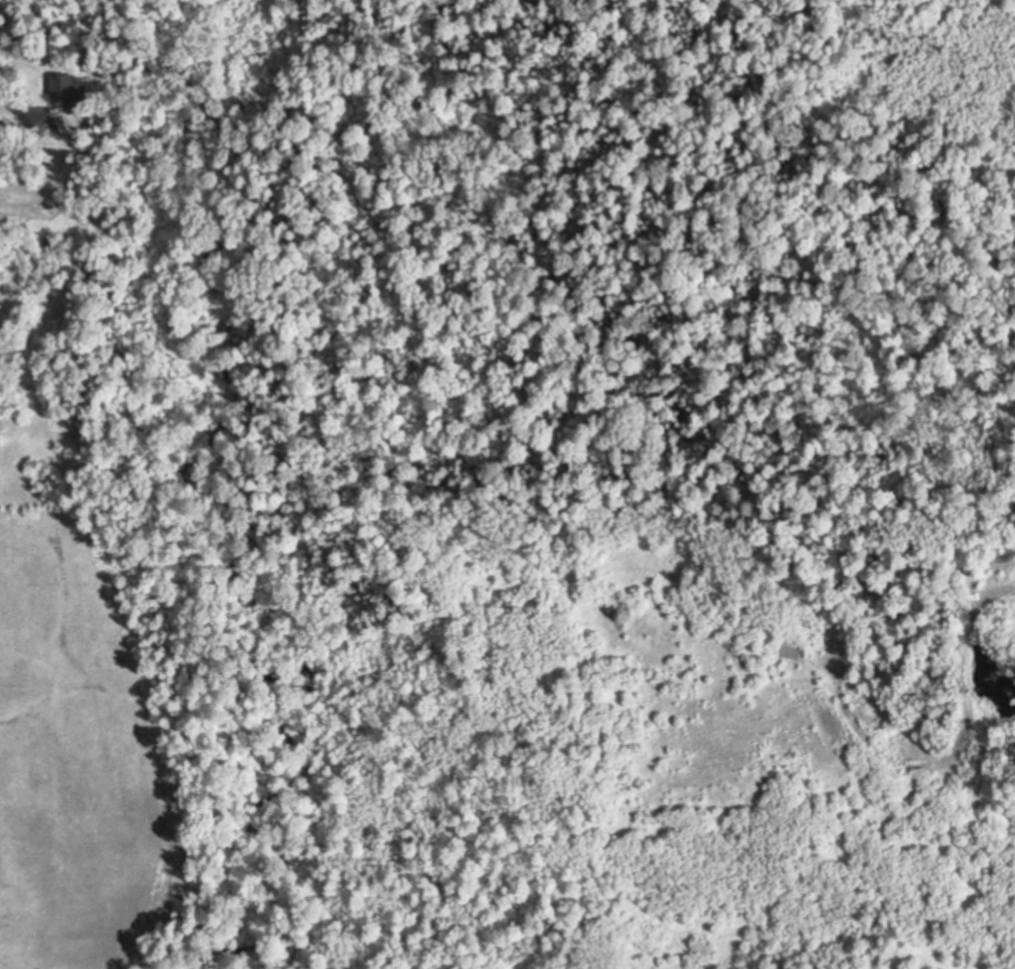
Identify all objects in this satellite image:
building: (73, 92)
building: (791, 648)

